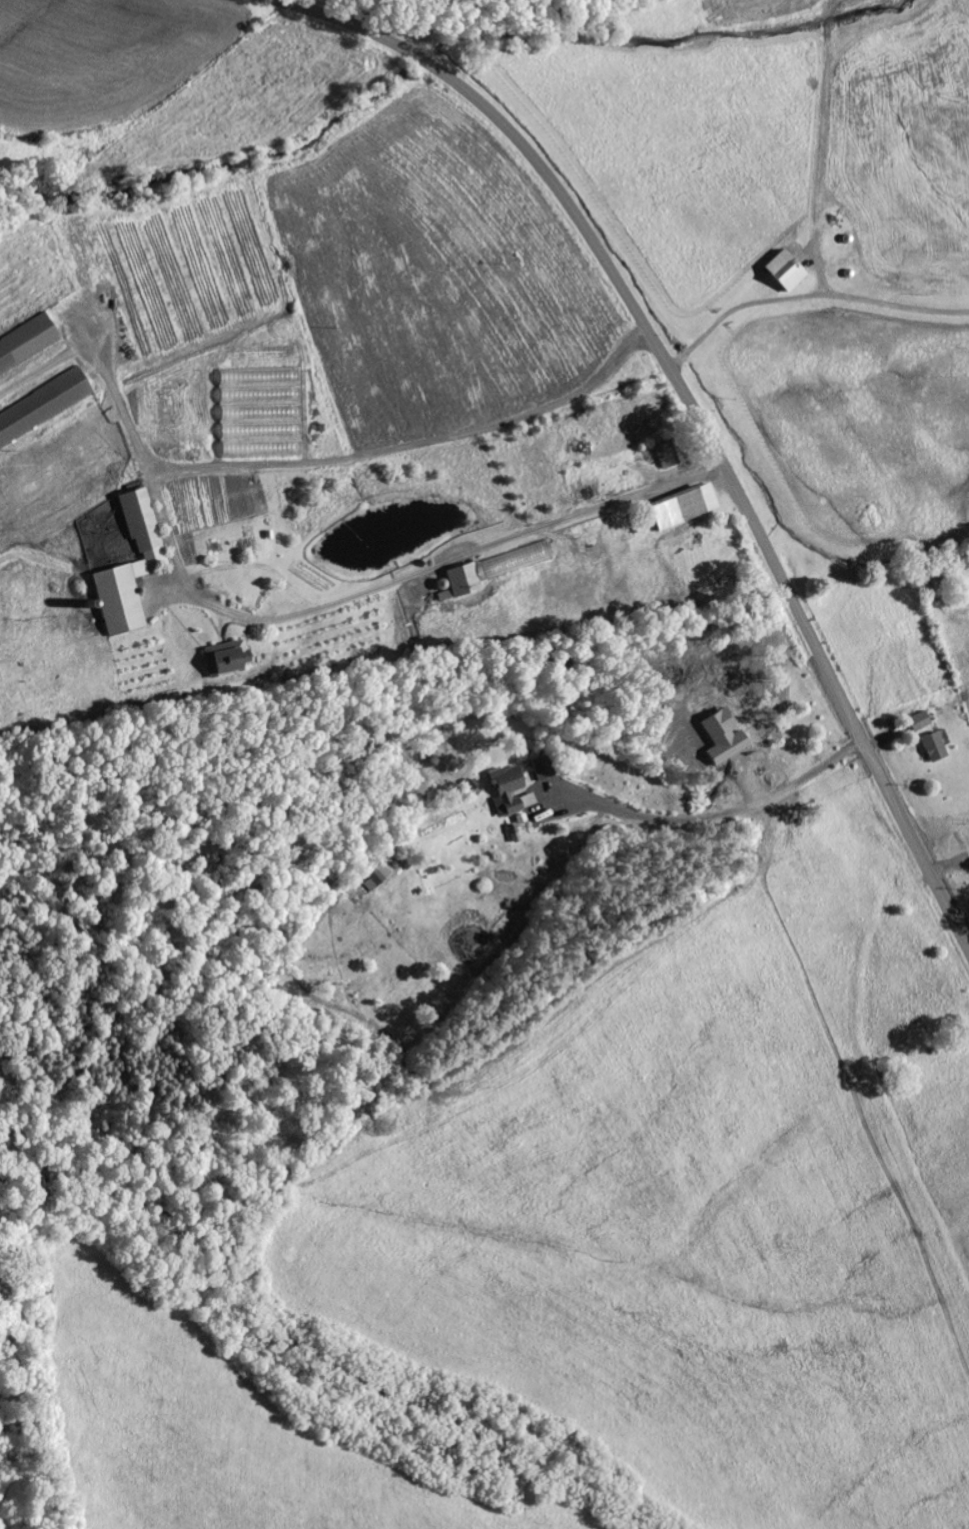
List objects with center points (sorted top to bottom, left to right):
building: (786, 272)
building: (28, 348)
road: (694, 409)
building: (45, 411)
building: (667, 455)
building: (685, 507)
building: (131, 569)
building: (497, 569)
building: (228, 659)
building: (921, 722)
building: (935, 747)
building: (542, 769)
building: (508, 791)
building: (529, 801)
building: (377, 878)

